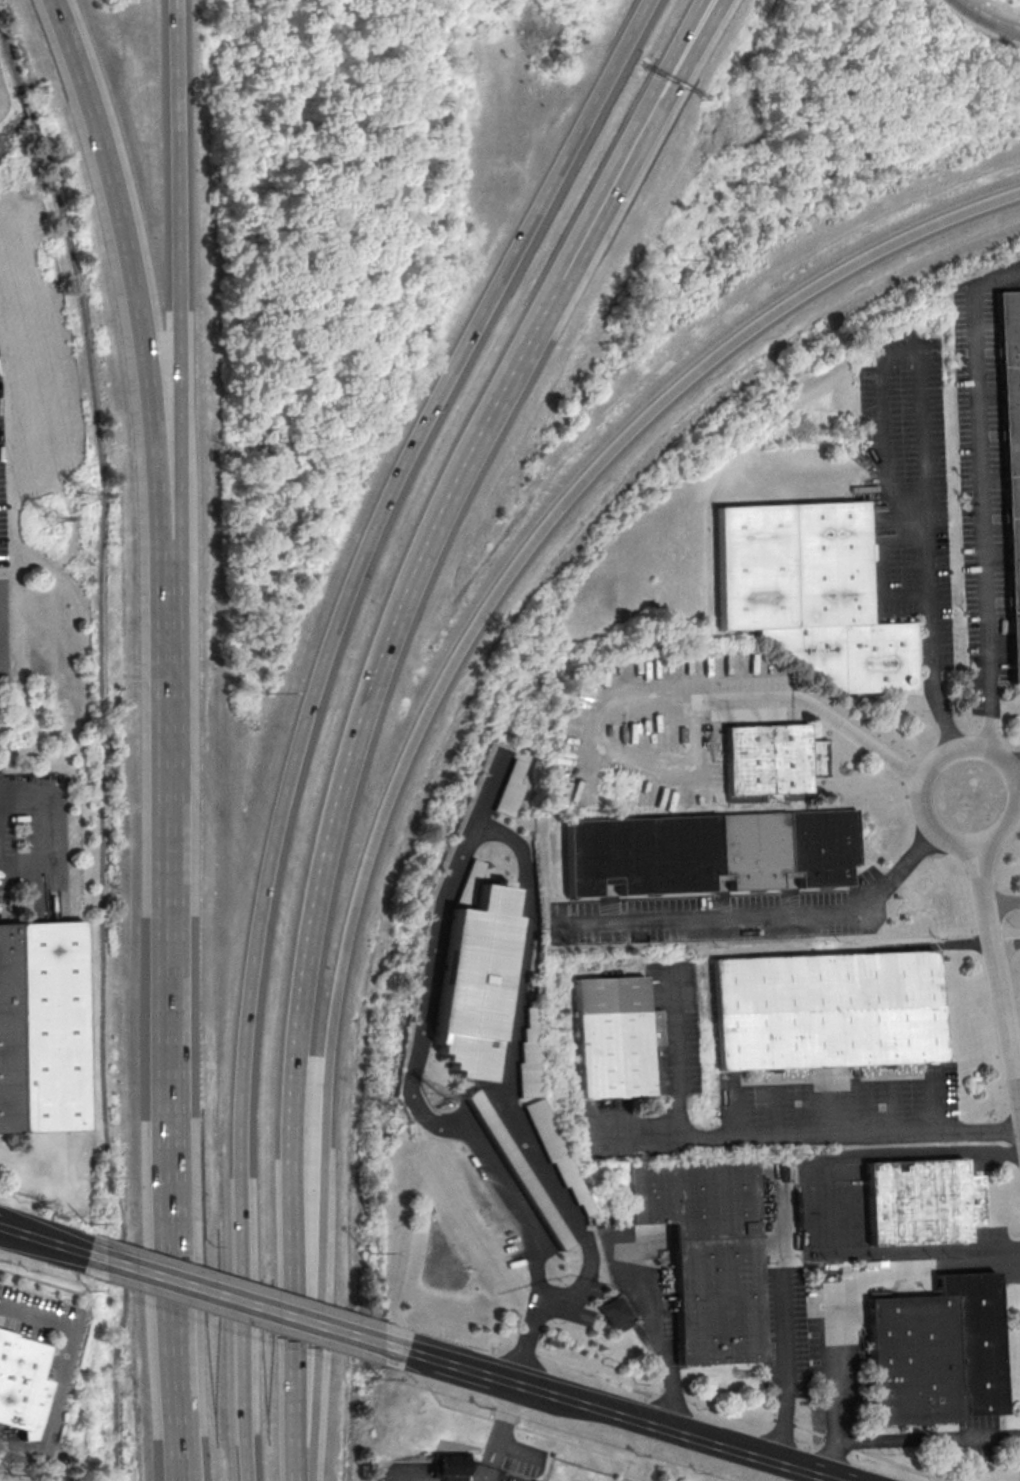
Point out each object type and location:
road: (984, 20)
road: (12, 63)
road: (658, 71)
road: (675, 74)
road: (29, 113)
road: (536, 258)
road: (566, 262)
road: (132, 273)
road: (177, 278)
road: (920, 389)
building: (1011, 452)
parking lot: (985, 483)
parking lot: (910, 486)
power tower: (80, 493)
road: (985, 496)
power tower: (44, 524)
road: (884, 570)
building: (809, 594)
road: (0, 641)
road: (935, 696)
road: (668, 701)
road: (436, 702)
road: (315, 706)
building: (770, 761)
road: (1017, 769)
building: (515, 791)
road: (923, 795)
road: (105, 801)
road: (48, 838)
building: (711, 853)
road: (1005, 900)
road: (769, 912)
road: (322, 914)
road: (931, 945)
road: (1001, 964)
building: (481, 974)
building: (828, 1012)
road: (179, 1019)
building: (43, 1029)
building: (621, 1041)
road: (675, 1053)
building: (532, 1057)
road: (1018, 1065)
road: (507, 1080)
road: (417, 1089)
power tower: (442, 1094)
power tower: (405, 1124)
road: (812, 1133)
building: (559, 1154)
building: (522, 1170)
road: (834, 1187)
road: (17, 1190)
building: (920, 1202)
road: (14, 1229)
road: (68, 1245)
building: (710, 1257)
road: (915, 1268)
road: (45, 1281)
road: (252, 1298)
building: (613, 1311)
road: (37, 1322)
road: (655, 1325)
road: (782, 1325)
road: (416, 1346)
building: (937, 1353)
road: (474, 1364)
building: (19, 1377)
road: (834, 1386)
road: (742, 1408)
road: (50, 1409)
road: (503, 1410)
road: (630, 1413)
road: (523, 1429)
road: (928, 1438)
road: (484, 1461)
road: (492, 1464)
building: (455, 1465)
road: (798, 1465)
road: (416, 1476)

